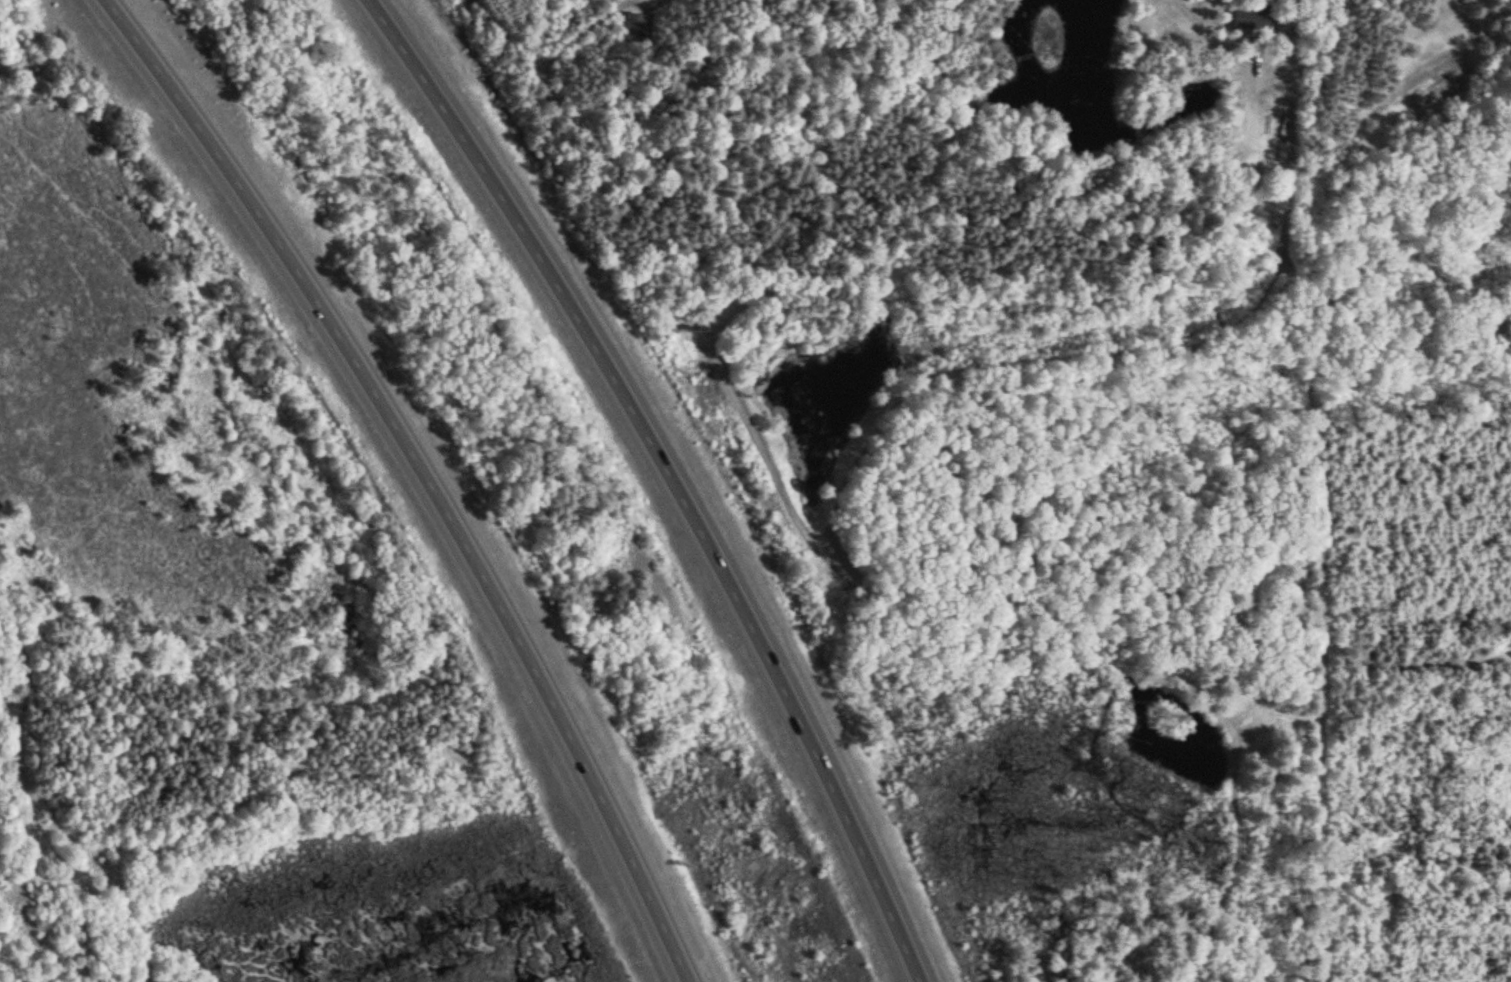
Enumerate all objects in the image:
building: (637, 29)
road: (427, 473)
road: (671, 474)

